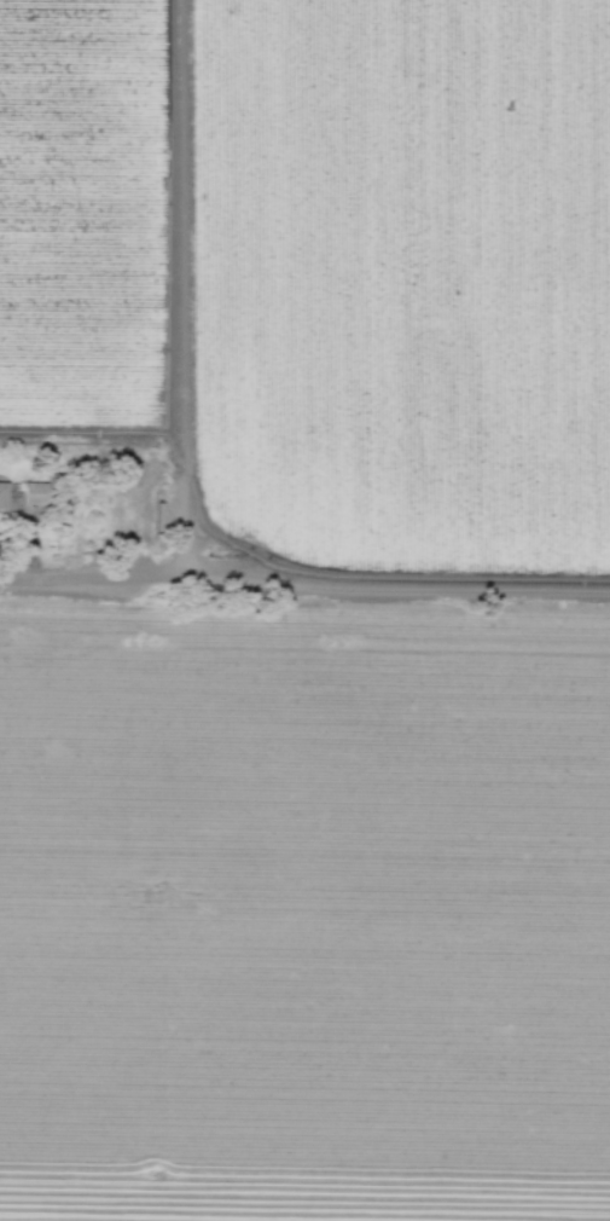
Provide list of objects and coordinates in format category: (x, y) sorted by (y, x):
building: (34, 492)
road: (157, 585)
road: (461, 591)

